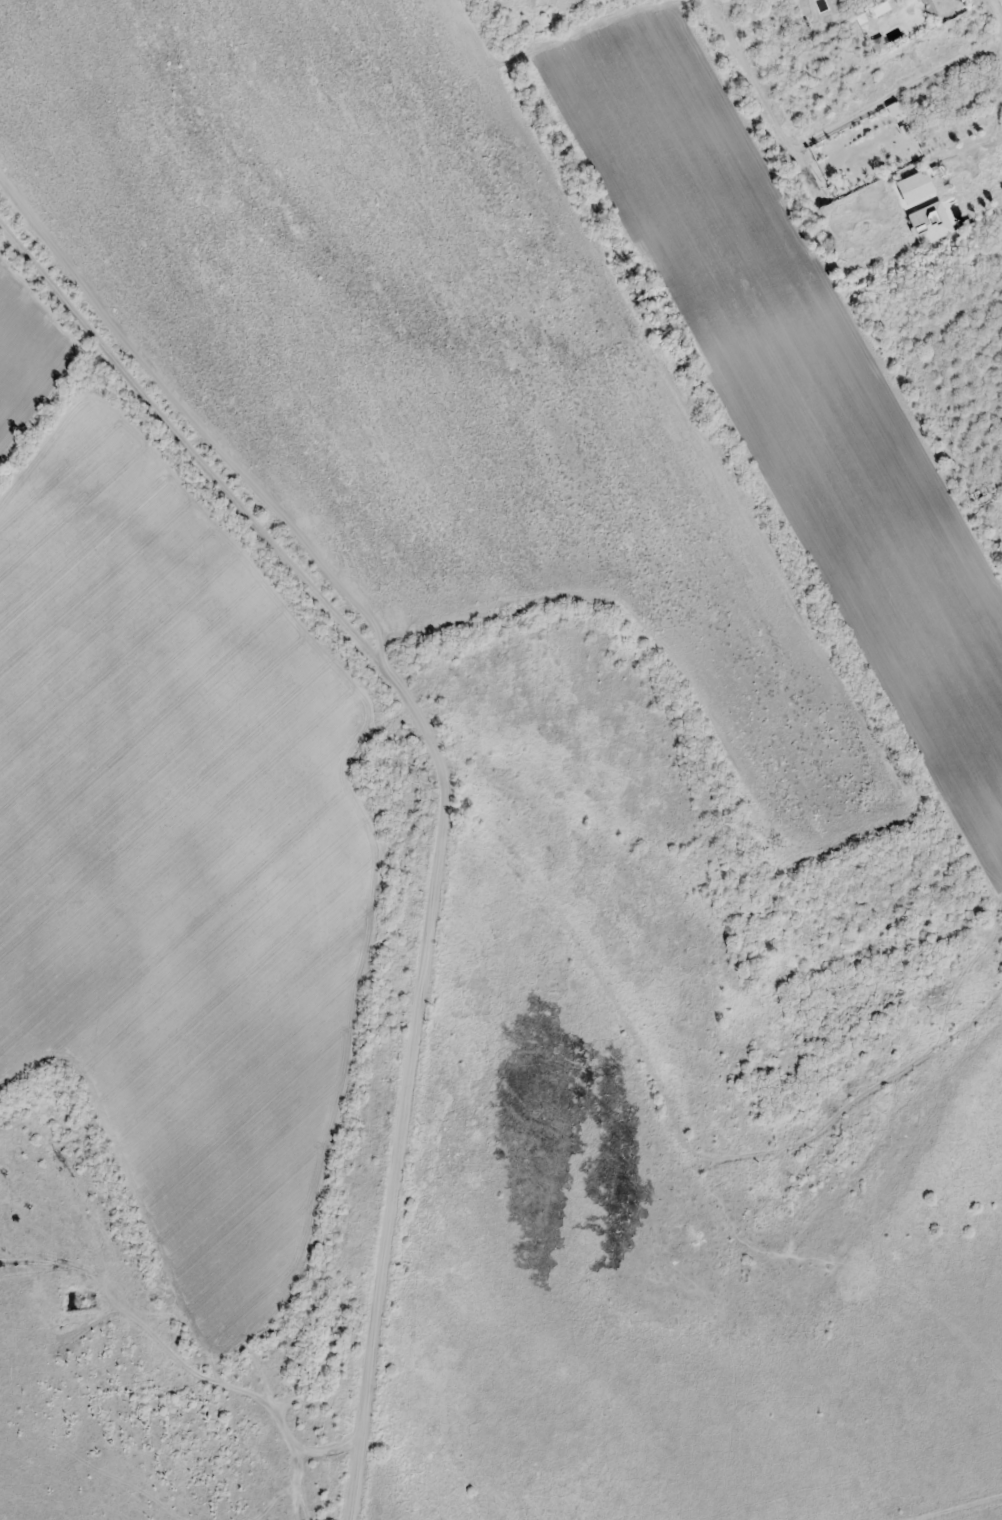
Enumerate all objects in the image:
road: (769, 95)

